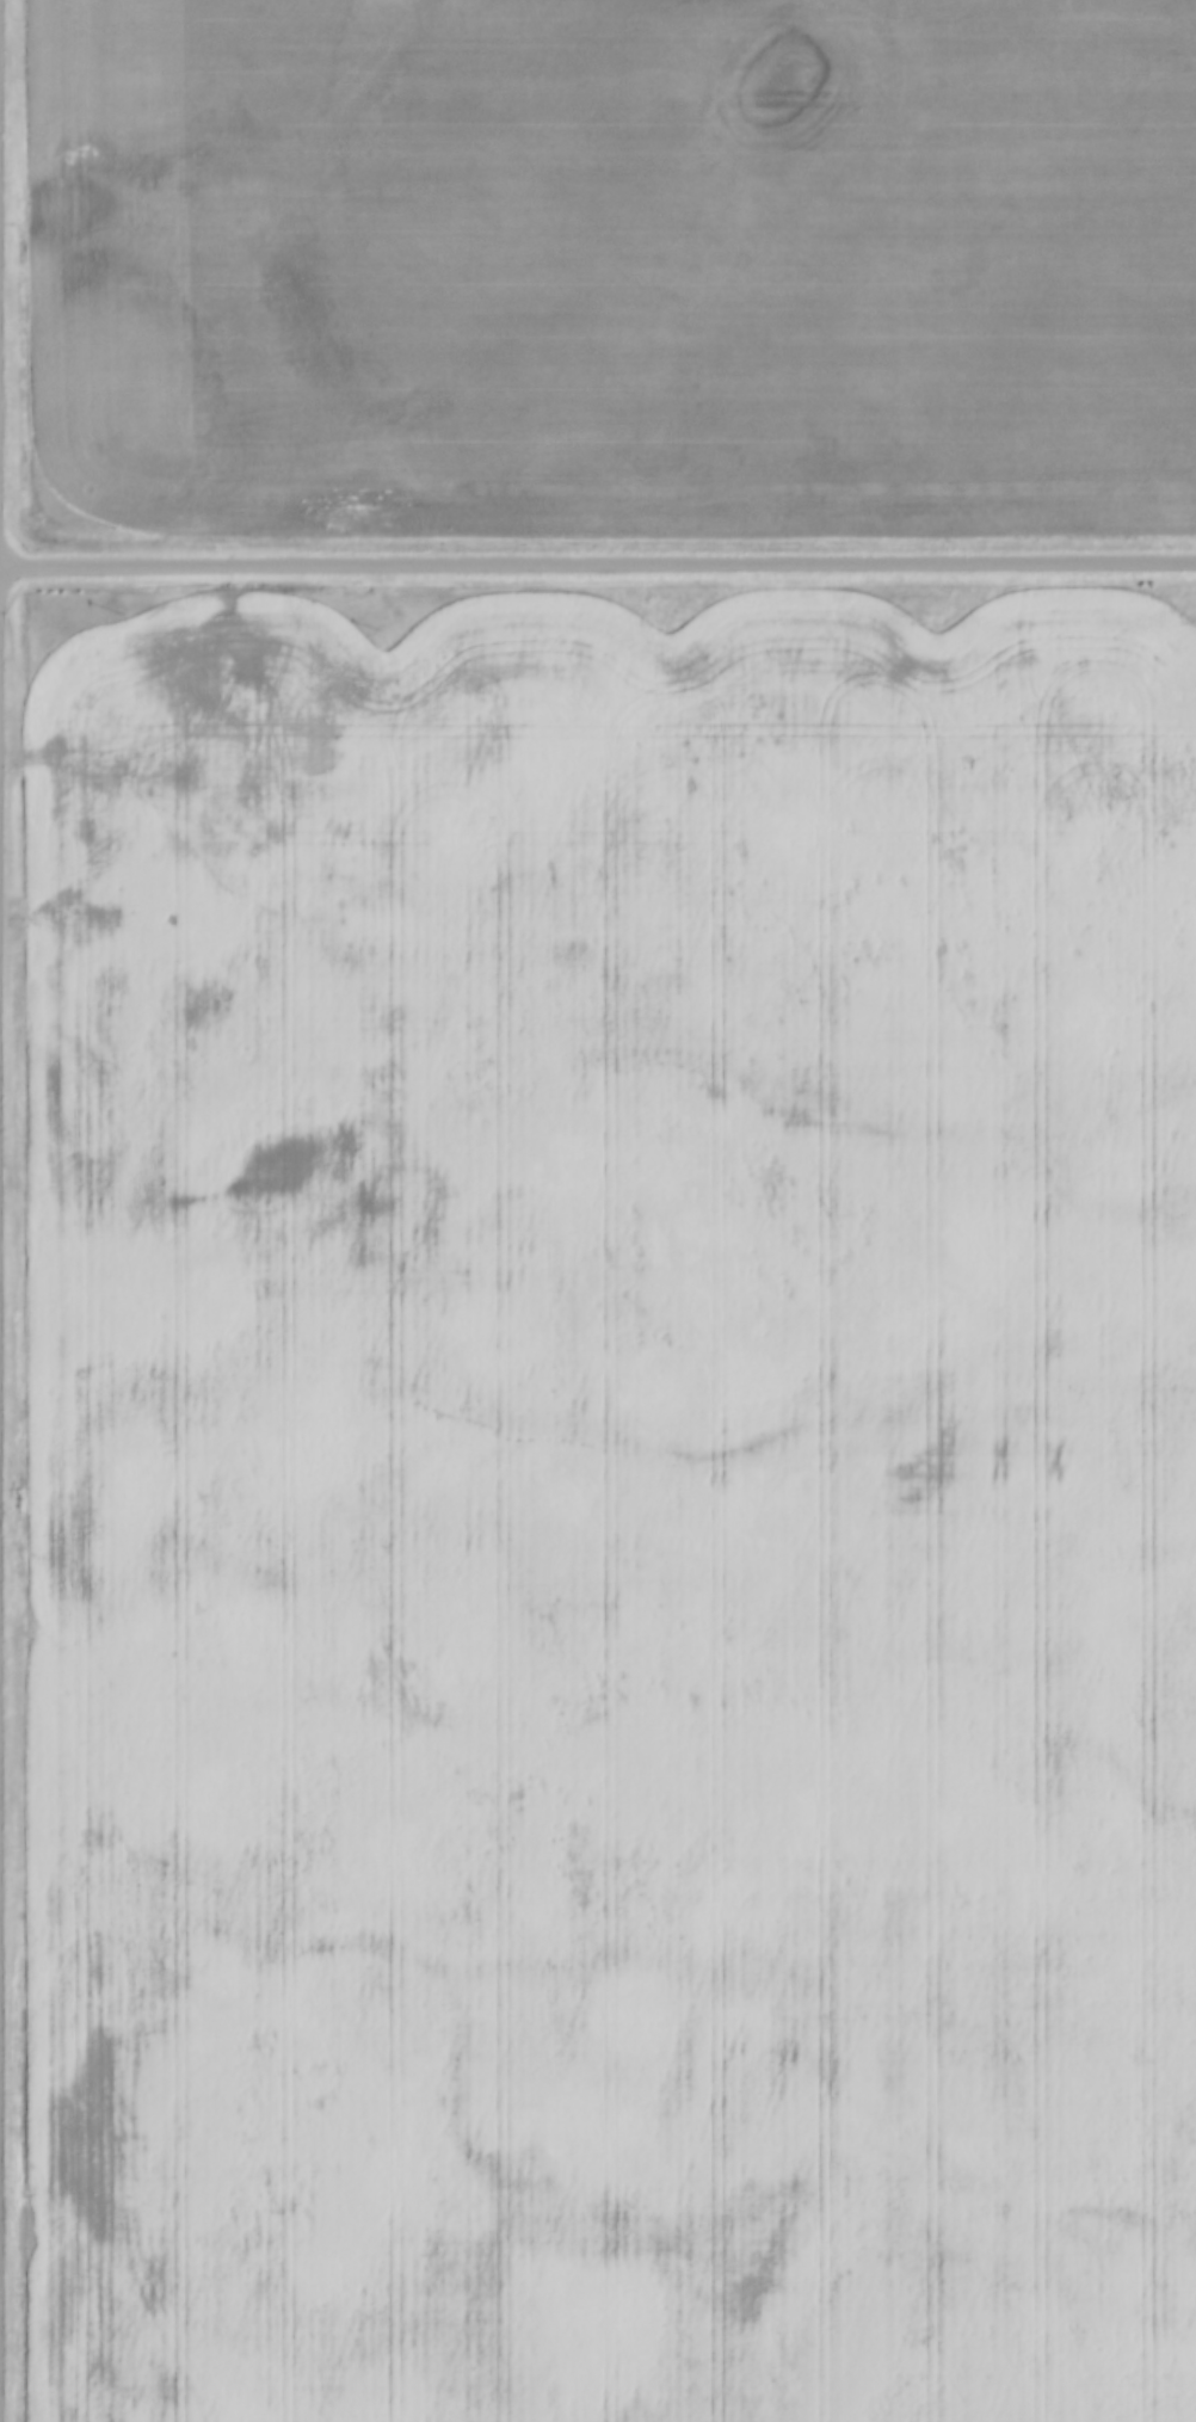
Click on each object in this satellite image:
road: (598, 566)

